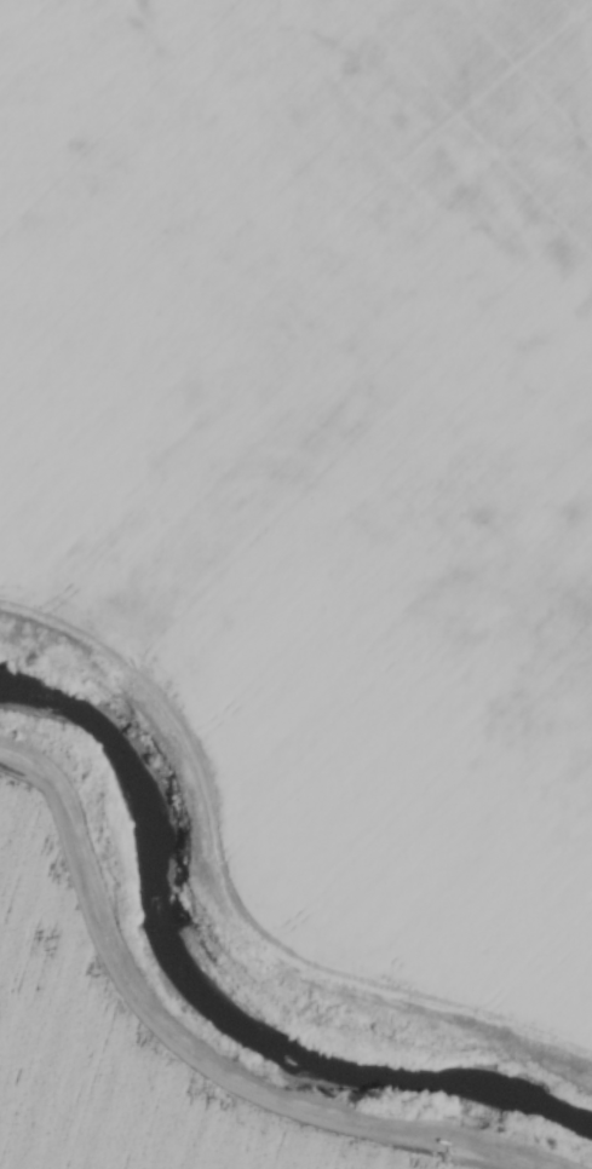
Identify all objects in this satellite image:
river: (213, 989)

